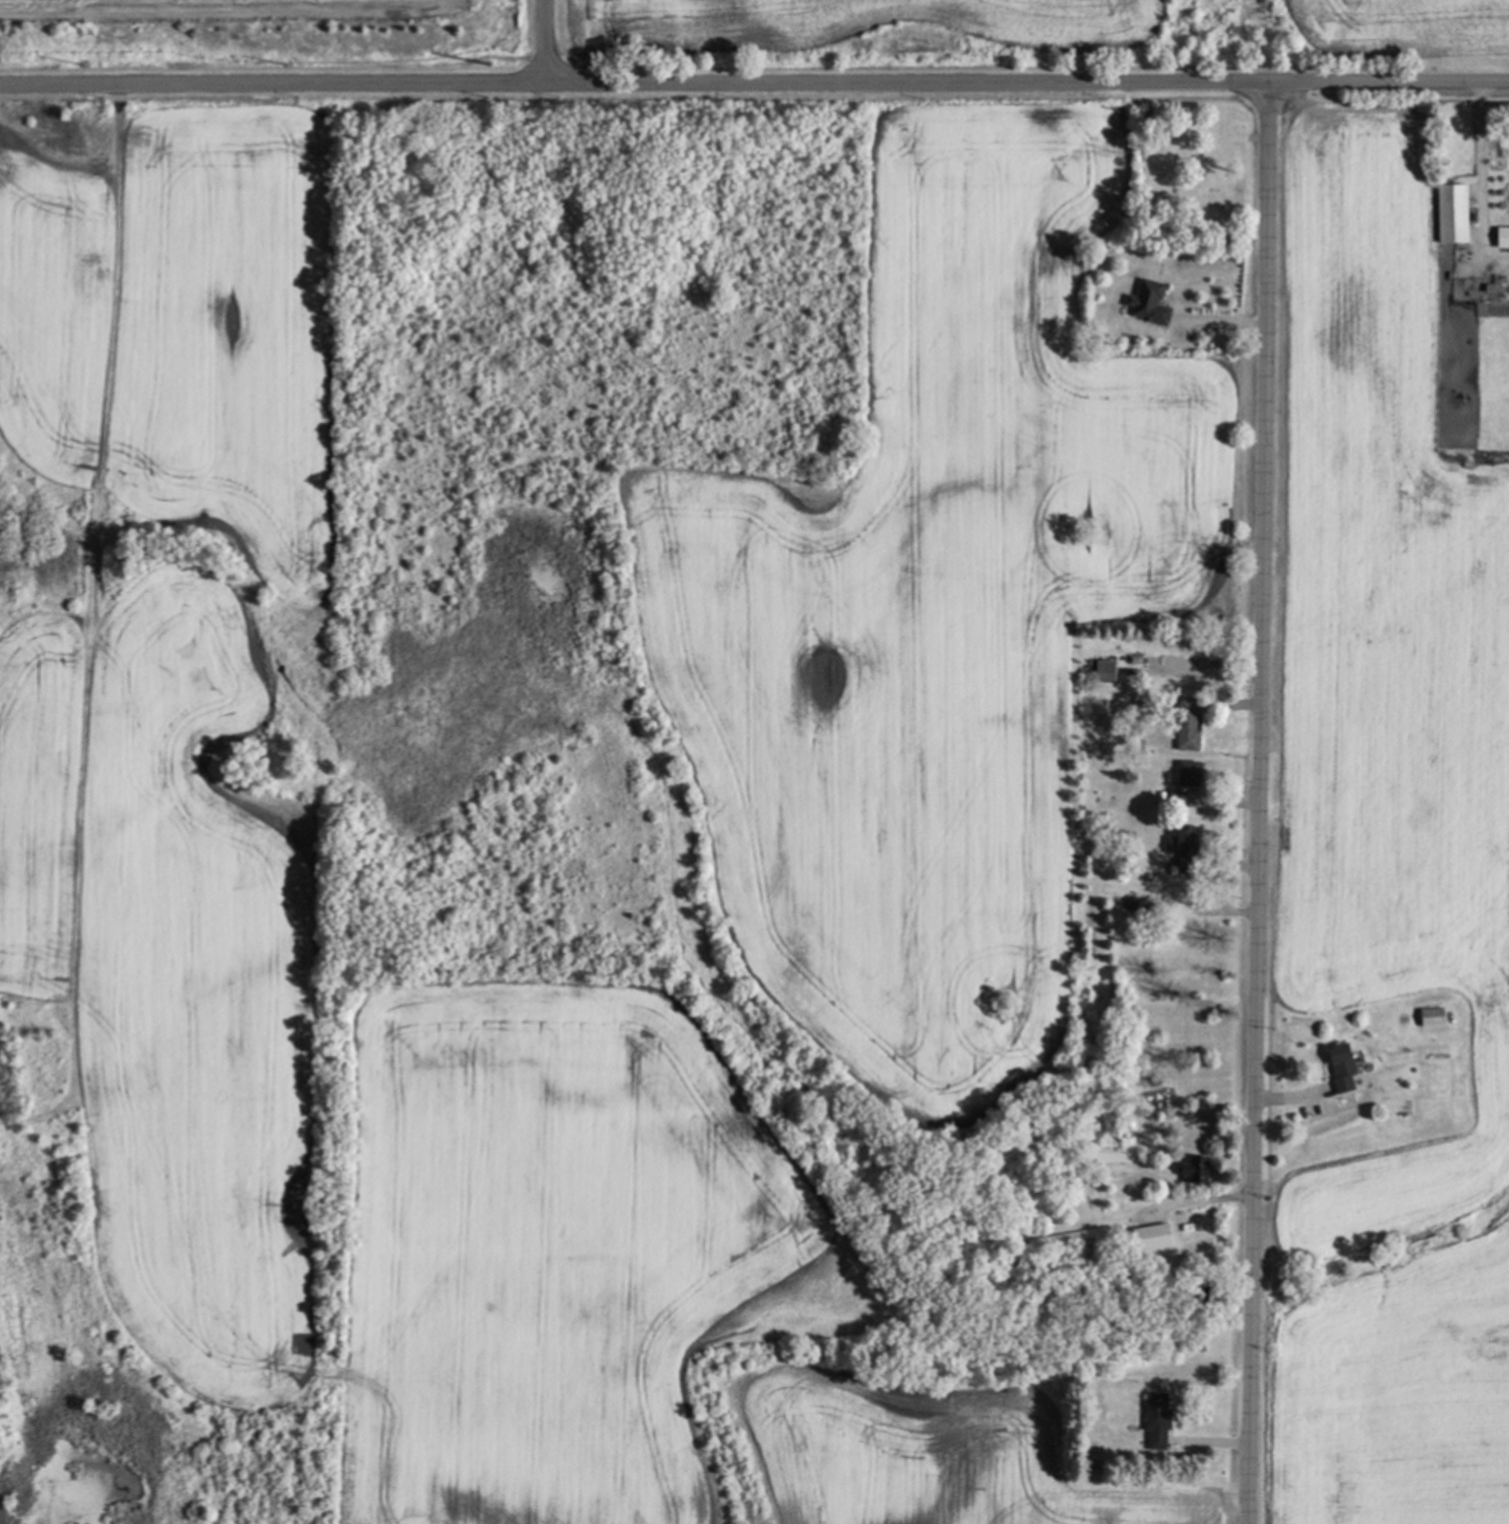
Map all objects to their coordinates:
road: (550, 42)
road: (754, 84)
park: (1201, 161)
road: (1481, 179)
building: (1448, 213)
building: (1499, 236)
building: (1143, 302)
building: (1099, 671)
building: (1182, 729)
landfill: (547, 737)
building: (1183, 771)
building: (1170, 797)
road: (1257, 804)
building: (1175, 836)
crop: (1387, 850)
building: (1428, 1016)
building: (1337, 1065)
building: (1103, 1154)
building: (1188, 1169)
road: (1198, 1200)
building: (1146, 1235)
building: (1069, 1239)
building: (1152, 1419)

